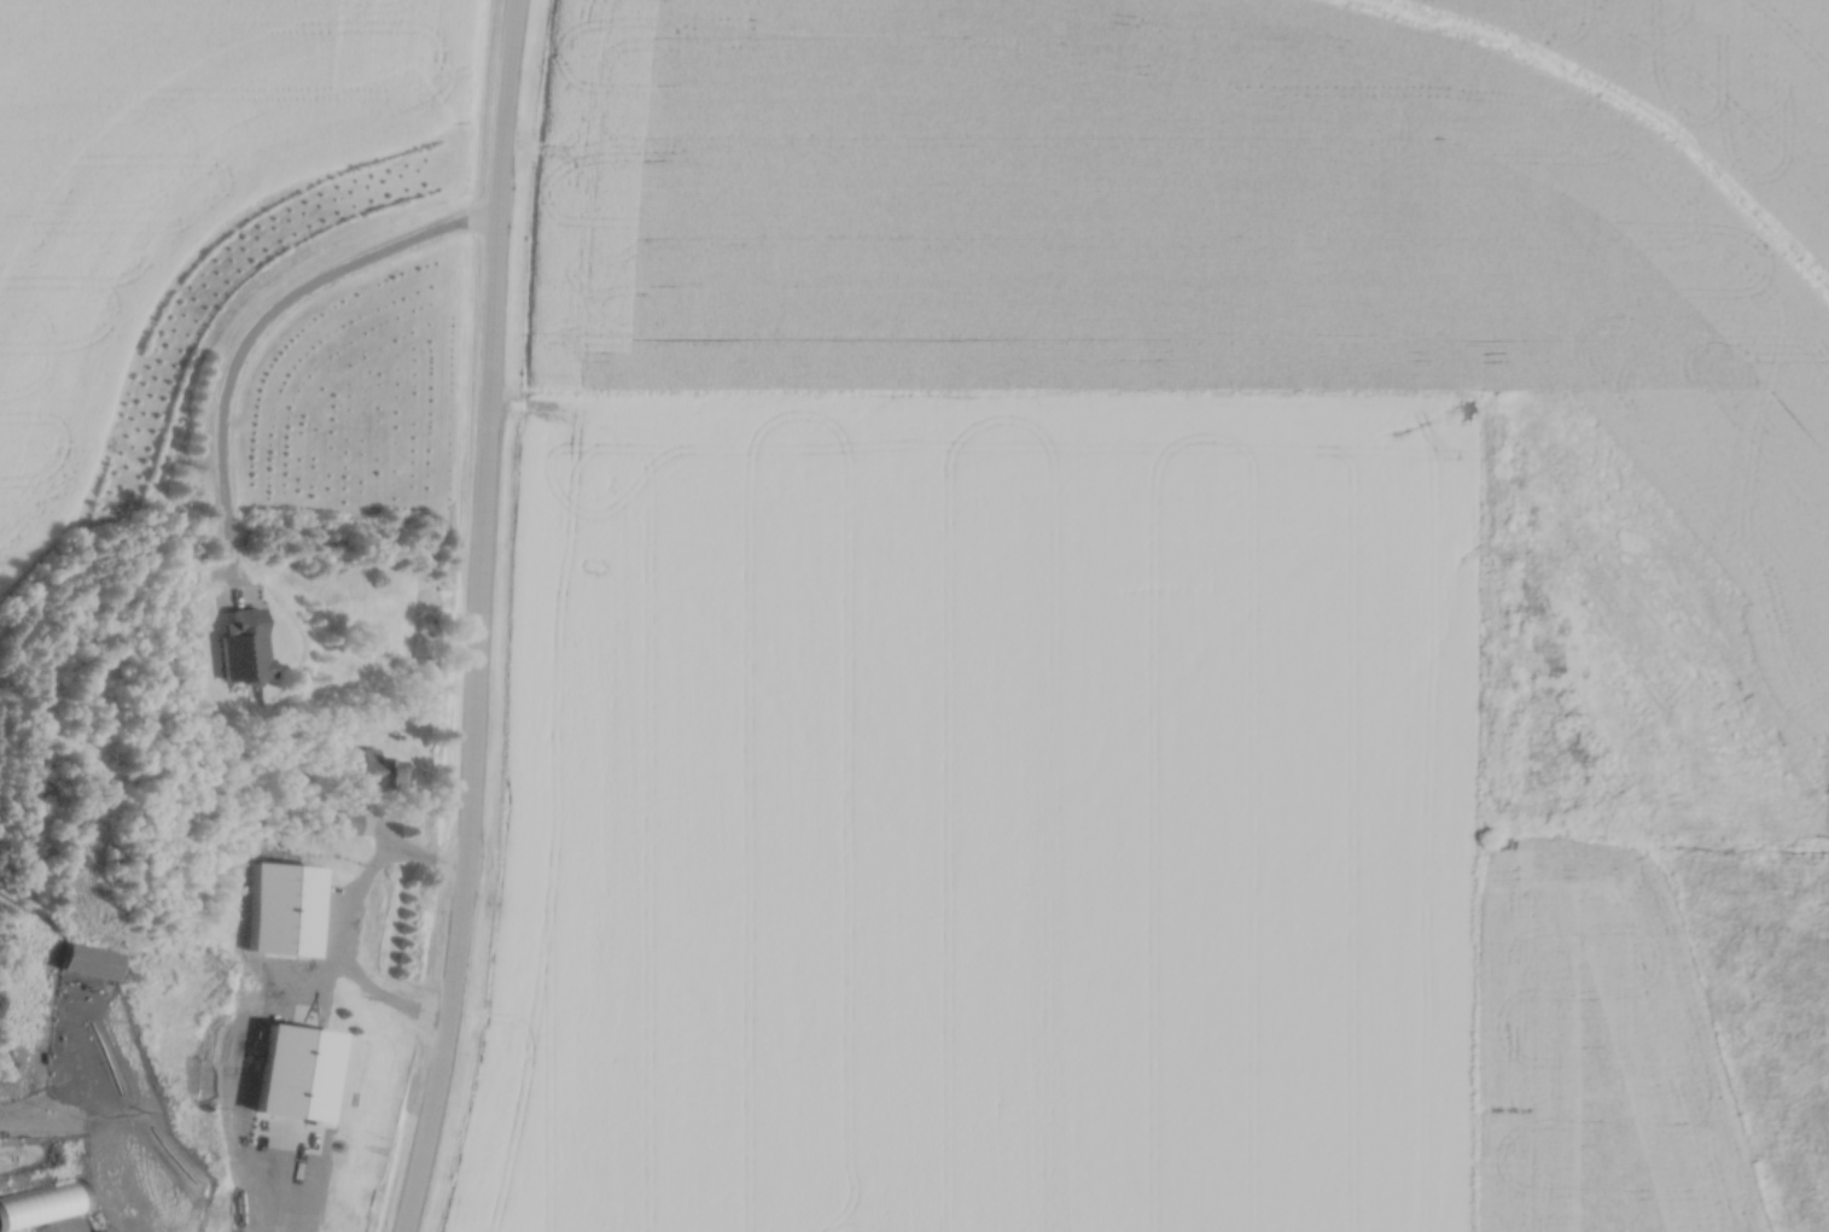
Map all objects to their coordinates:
road: (260, 337)
road: (478, 618)
building: (245, 642)
building: (388, 770)
building: (348, 817)
road: (374, 871)
building: (298, 918)
building: (86, 956)
road: (266, 1017)
building: (280, 1098)
building: (39, 1199)

